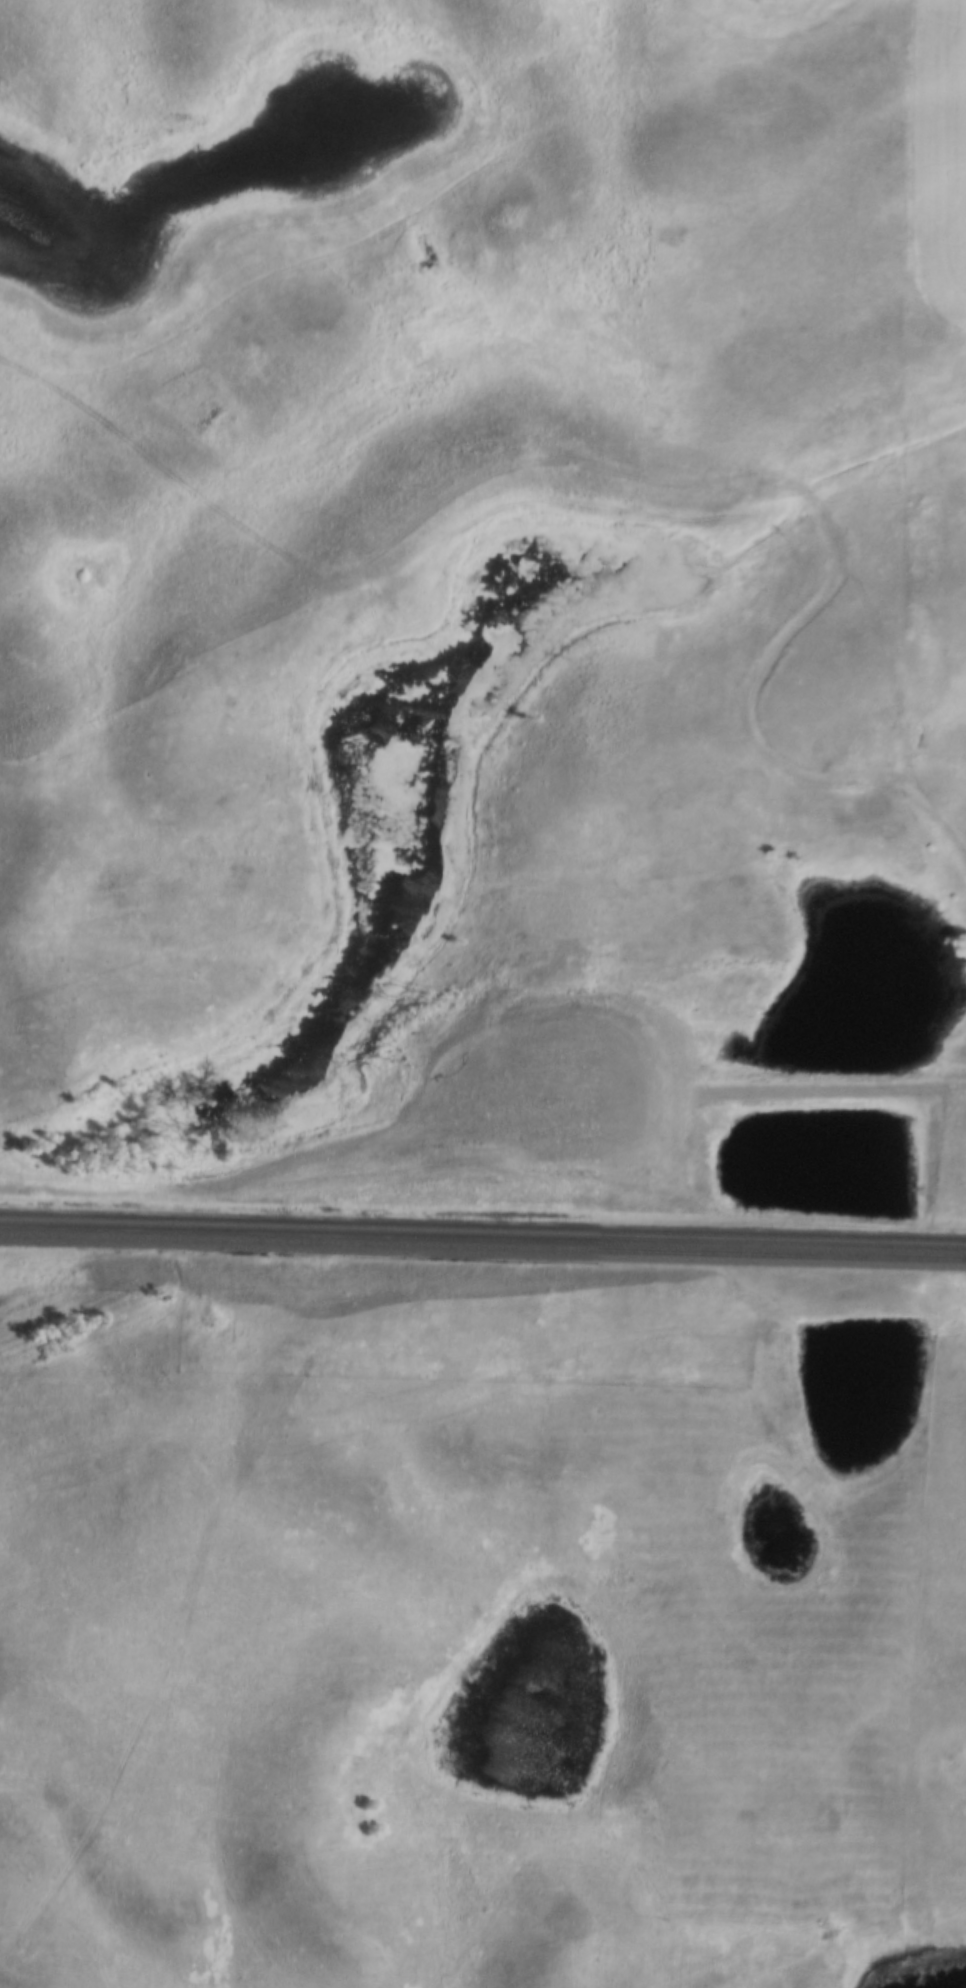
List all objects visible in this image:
railway: (482, 1226)
railway: (482, 1248)

